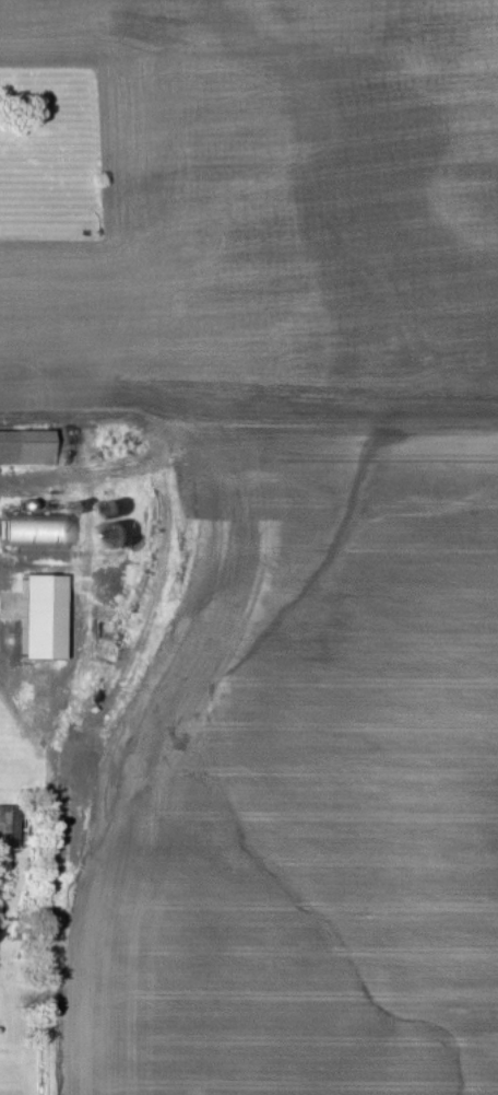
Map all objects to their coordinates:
road: (67, 445)
building: (27, 449)
building: (40, 534)
building: (45, 618)
building: (10, 828)

